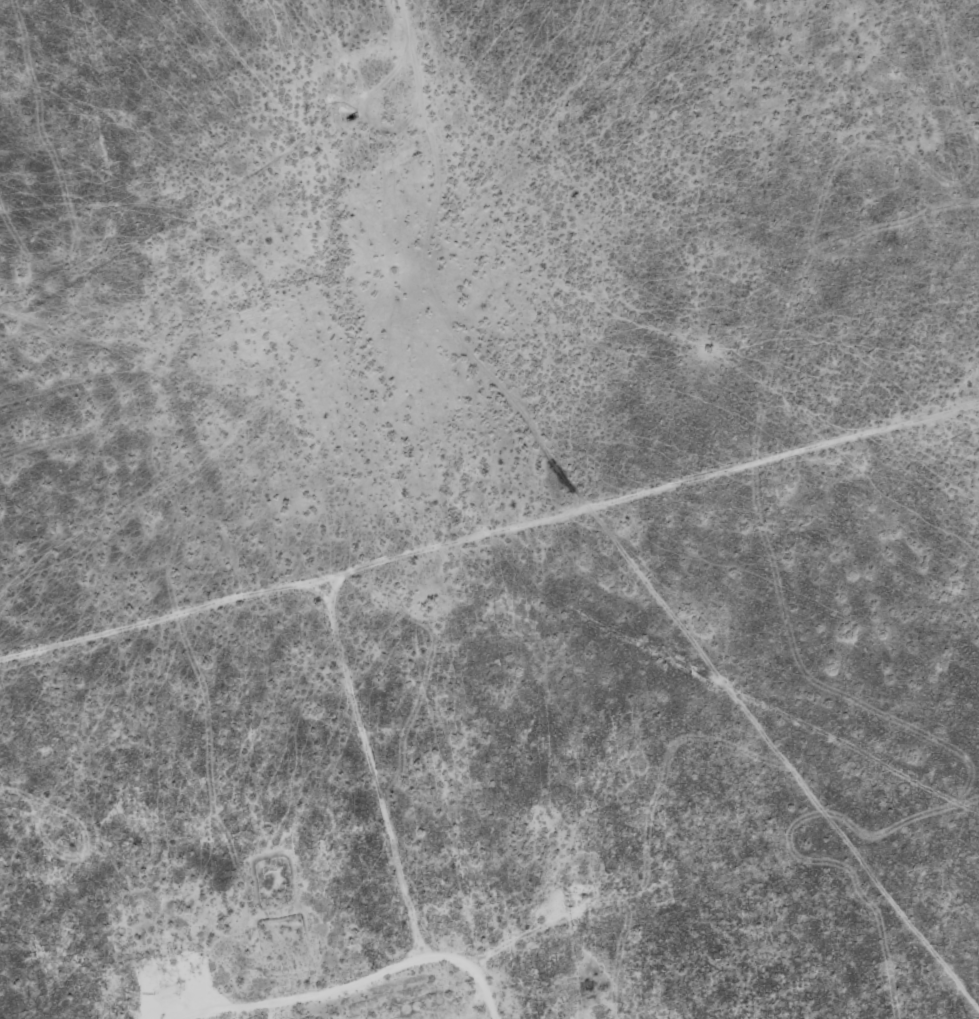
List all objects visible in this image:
road: (475, 574)
road: (229, 924)

